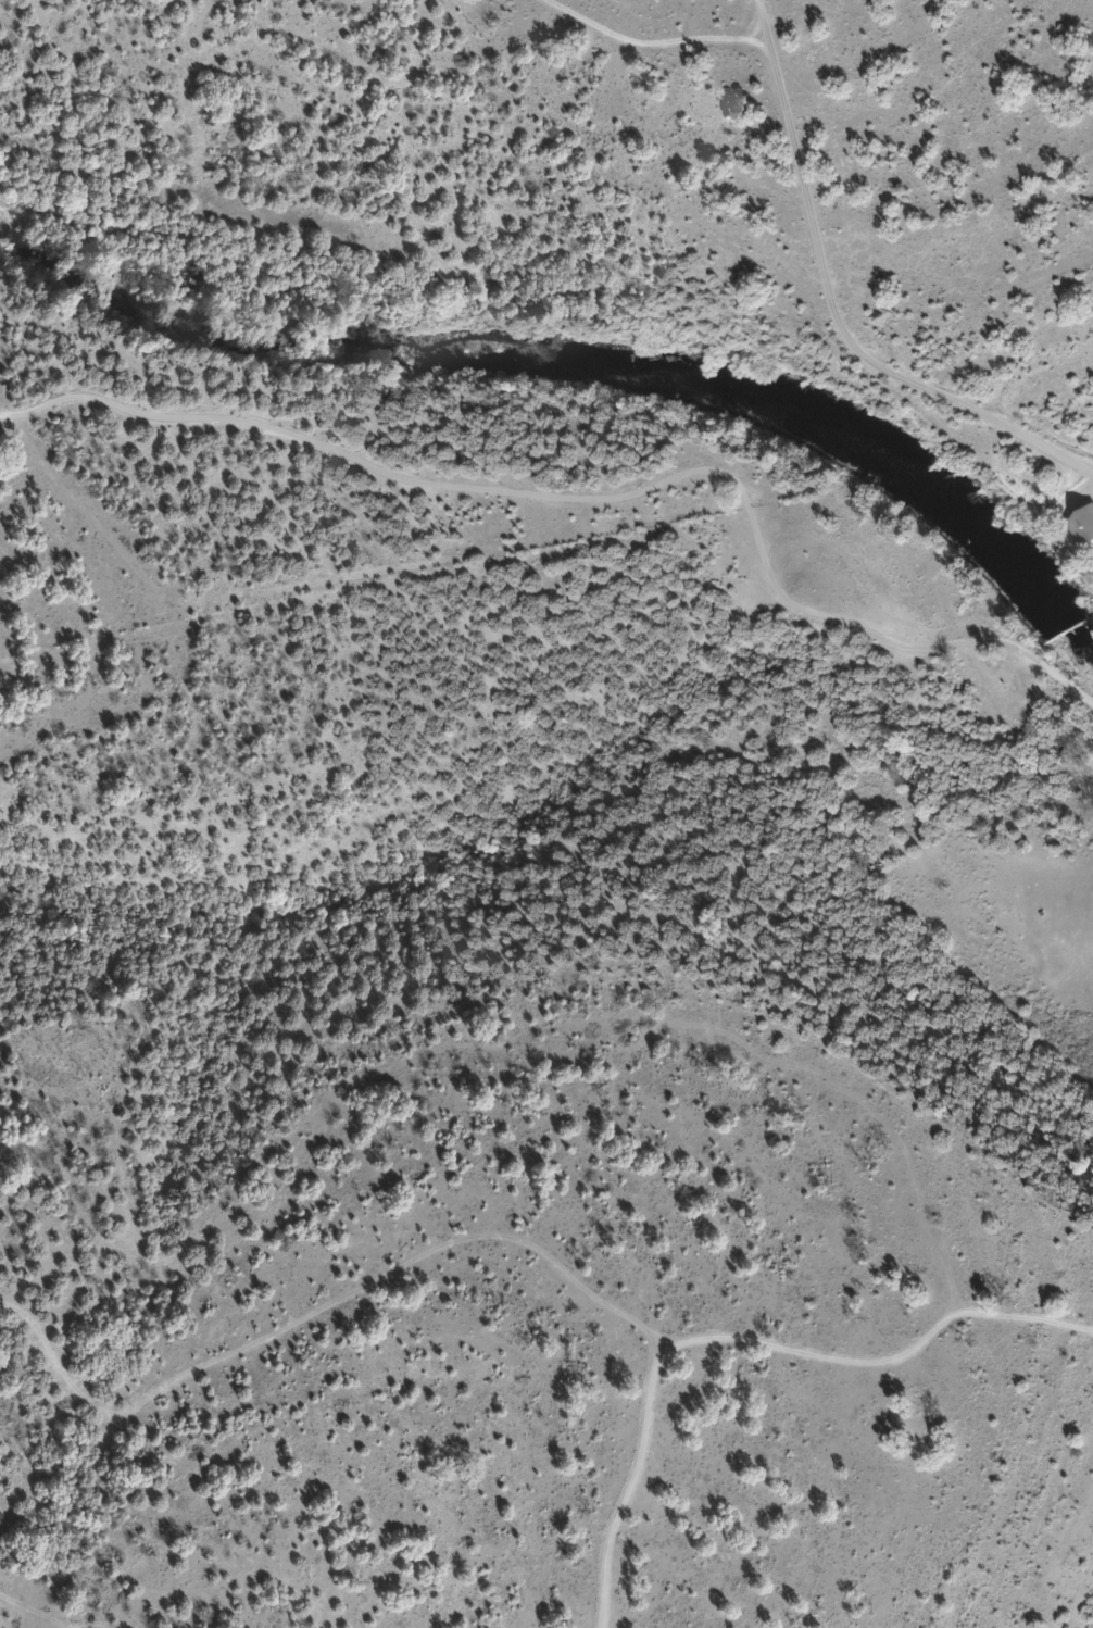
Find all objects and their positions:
building: (1088, 527)

